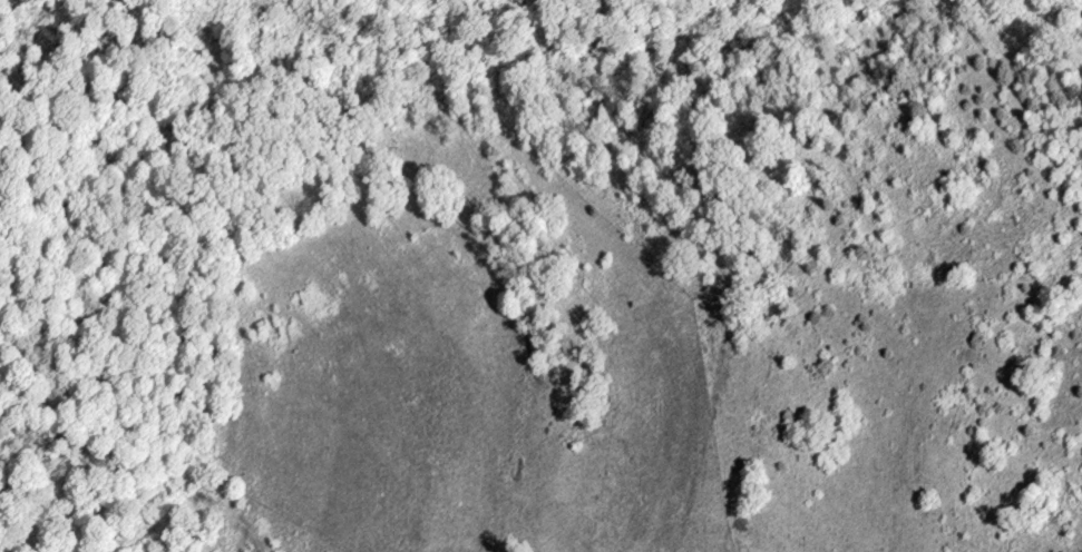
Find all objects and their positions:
road: (198, 511)

